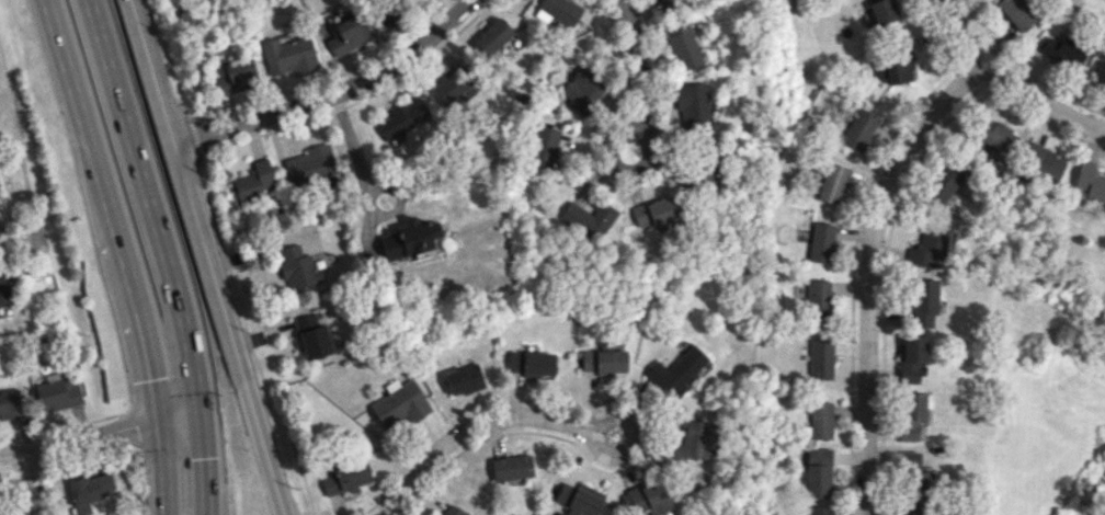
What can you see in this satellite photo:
building: (664, 3)
building: (387, 9)
building: (884, 9)
building: (561, 11)
building: (1016, 12)
building: (348, 33)
building: (491, 36)
building: (683, 44)
building: (288, 54)
building: (895, 64)
road: (639, 65)
building: (1098, 72)
building: (235, 77)
road: (1011, 80)
building: (452, 83)
building: (582, 90)
road: (332, 94)
building: (693, 105)
road: (186, 110)
building: (401, 117)
building: (858, 129)
building: (993, 134)
road: (196, 136)
building: (544, 146)
building: (309, 163)
building: (698, 170)
road: (633, 171)
building: (252, 181)
building: (1087, 182)
building: (832, 183)
building: (943, 184)
road: (365, 194)
building: (657, 210)
building: (588, 218)
building: (408, 238)
building: (822, 241)
road: (15, 242)
building: (927, 247)
road: (127, 253)
road: (159, 253)
road: (206, 256)
building: (296, 266)
road: (870, 268)
road: (232, 283)
building: (5, 290)
building: (819, 300)
building: (923, 302)
building: (311, 336)
building: (913, 357)
building: (822, 358)
building: (603, 359)
building: (531, 362)
building: (675, 371)
traffic signals: (158, 378)
building: (463, 379)
building: (57, 392)
building: (10, 403)
building: (398, 403)
road: (642, 410)
building: (913, 414)
building: (821, 420)
traffic signals: (135, 424)
road: (471, 425)
road: (635, 433)
road: (98, 434)
building: (691, 442)
road: (19, 451)
traffic signals: (198, 457)
building: (511, 467)
building: (819, 471)
building: (915, 473)
building: (345, 476)
road: (30, 482)
building: (91, 488)
building: (579, 497)
building: (649, 497)
building: (451, 510)
building: (821, 510)
building: (910, 511)

